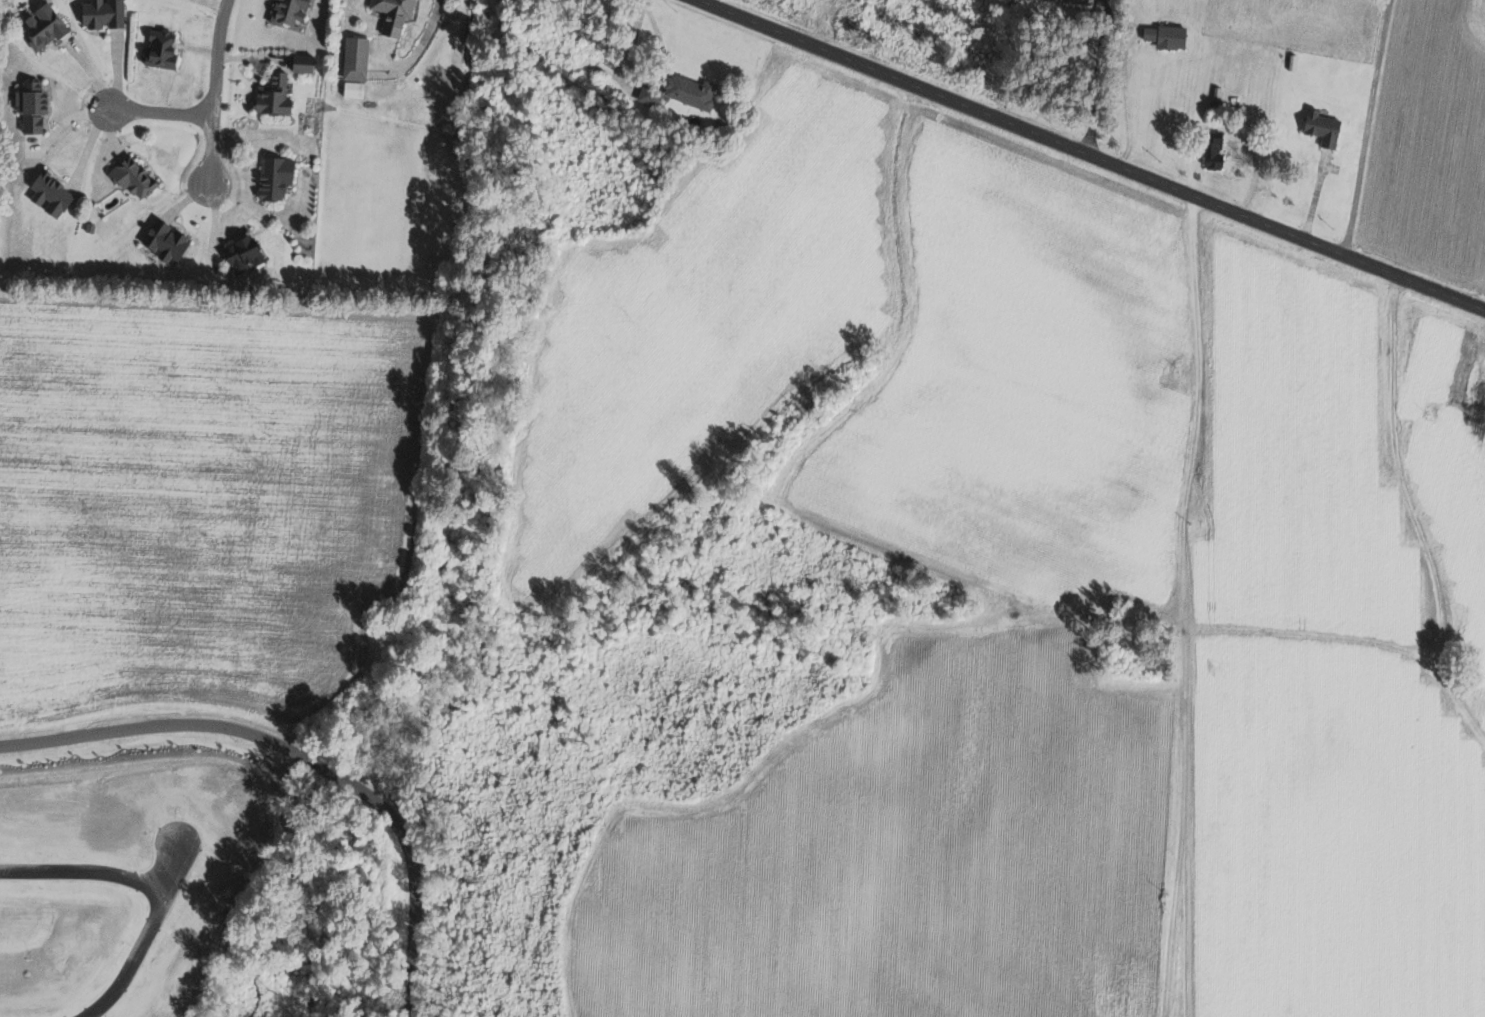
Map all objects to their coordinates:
building: (1065, 1)
building: (295, 12)
building: (108, 14)
building: (398, 14)
building: (48, 27)
building: (1171, 37)
road: (419, 48)
building: (167, 51)
building: (359, 59)
building: (309, 65)
road: (1100, 78)
road: (645, 79)
building: (358, 90)
road: (214, 92)
building: (697, 93)
building: (655, 95)
building: (278, 96)
building: (37, 107)
road: (1131, 109)
road: (161, 113)
road: (65, 120)
building: (1326, 128)
road: (1366, 128)
building: (1218, 153)
road: (1088, 157)
building: (137, 177)
building: (281, 178)
building: (56, 195)
building: (171, 241)
building: (250, 254)
building: (1036, 606)
road: (303, 765)
road: (86, 869)
road: (153, 936)

